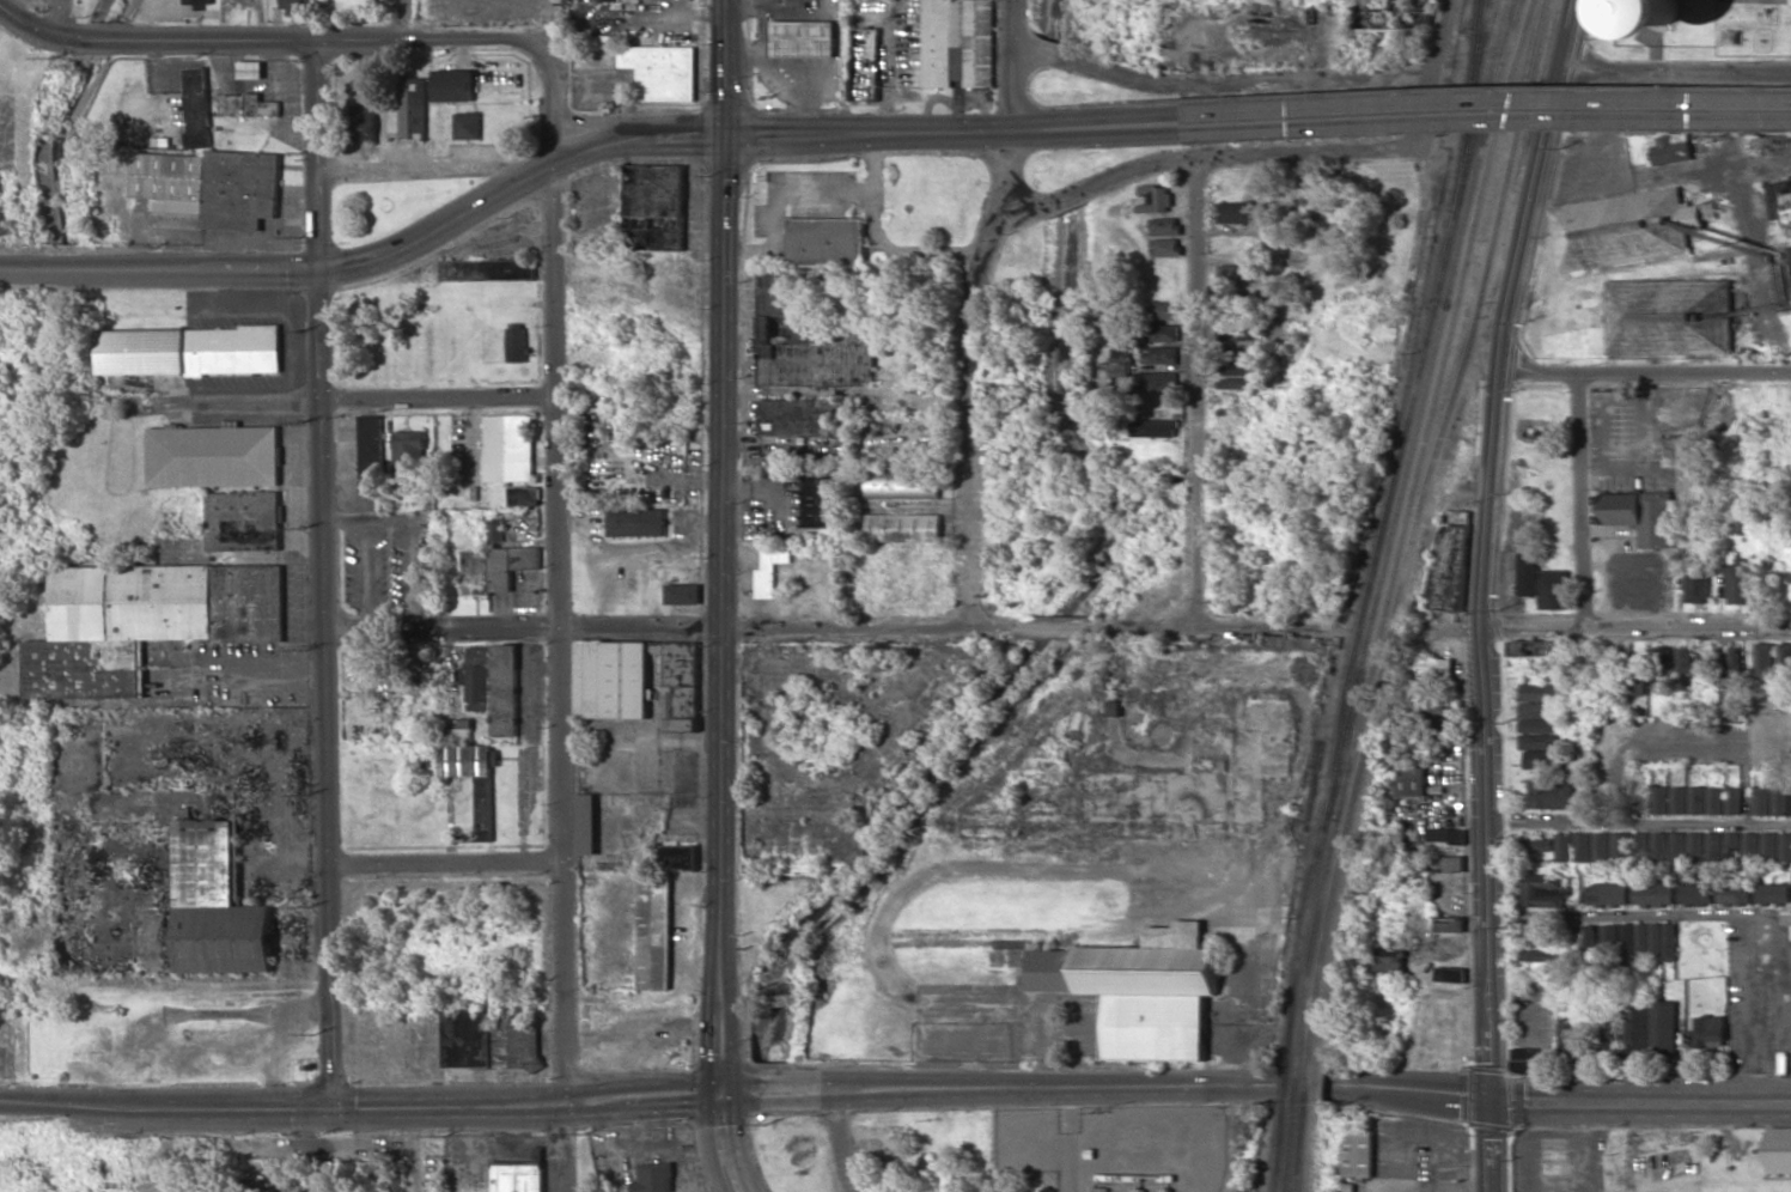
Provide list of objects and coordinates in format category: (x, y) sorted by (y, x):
building: (199, 1)
building: (288, 4)
railway: (1478, 13)
building: (1659, 17)
road: (51, 18)
road: (398, 18)
road: (482, 37)
road: (151, 38)
building: (803, 38)
building: (958, 43)
railway: (1476, 55)
building: (864, 65)
building: (662, 71)
railway: (1495, 71)
road: (1677, 71)
road: (1218, 83)
building: (453, 85)
building: (249, 105)
railway: (1468, 105)
building: (197, 107)
building: (413, 109)
road: (1486, 111)
building: (363, 122)
road: (597, 123)
building: (468, 126)
traffic signals: (727, 135)
building: (1669, 148)
road: (577, 151)
road: (1312, 151)
road: (419, 169)
road: (1095, 182)
building: (212, 186)
building: (1156, 199)
building: (1778, 199)
building: (654, 207)
road: (1423, 208)
building: (1236, 213)
building: (1165, 226)
building: (1625, 229)
building: (827, 241)
building: (1166, 248)
building: (488, 269)
building: (1233, 273)
building: (1166, 310)
road: (969, 311)
building: (1669, 317)
building: (1236, 330)
building: (1157, 333)
building: (808, 337)
building: (517, 345)
building: (190, 351)
building: (1161, 354)
building: (1238, 364)
building: (1114, 366)
road: (1645, 376)
building: (1159, 379)
building: (1237, 383)
road: (1195, 391)
road: (364, 400)
railway: (1411, 414)
building: (796, 418)
building: (1155, 428)
building: (371, 446)
building: (508, 448)
building: (410, 455)
building: (224, 475)
building: (903, 485)
building: (372, 494)
building: (525, 495)
road: (1579, 500)
building: (822, 501)
road: (555, 511)
building: (1641, 516)
building: (636, 522)
railway: (1407, 522)
railway: (1418, 522)
railway: (1396, 523)
building: (904, 527)
building: (497, 529)
building: (1557, 537)
road: (724, 543)
road: (1486, 545)
building: (1451, 564)
building: (772, 566)
building: (497, 568)
road: (327, 572)
building: (1527, 574)
building: (1696, 579)
building: (1738, 583)
building: (1553, 589)
building: (683, 594)
building: (145, 621)
road: (1635, 622)
road: (666, 628)
road: (1048, 628)
road: (1213, 630)
building: (1533, 649)
building: (1785, 658)
building: (1763, 659)
building: (678, 662)
building: (1683, 664)
building: (1662, 667)
building: (1705, 667)
building: (1431, 669)
building: (1637, 675)
building: (1735, 675)
building: (477, 679)
building: (611, 679)
building: (505, 691)
building: (1539, 692)
building: (1437, 703)
building: (1116, 707)
building: (1725, 710)
building: (1537, 717)
building: (1434, 728)
road: (1748, 729)
building: (463, 731)
building: (1537, 741)
railway: (1351, 749)
building: (1541, 759)
building: (1413, 776)
building: (1551, 795)
building: (1658, 799)
building: (1677, 799)
building: (1695, 799)
building: (1713, 799)
building: (1732, 799)
building: (1760, 801)
building: (1779, 801)
building: (1790, 803)
building: (485, 808)
road: (1639, 820)
building: (587, 823)
building: (1446, 834)
building: (1536, 844)
building: (1610, 846)
building: (1639, 846)
building: (1657, 846)
building: (1676, 846)
building: (1694, 846)
building: (1713, 846)
building: (1731, 846)
building: (1749, 846)
building: (1768, 846)
building: (1572, 847)
building: (1784, 847)
road: (441, 864)
building: (1543, 892)
building: (1732, 893)
building: (1772, 893)
building: (1606, 894)
building: (1651, 894)
building: (1693, 895)
building: (217, 905)
building: (659, 916)
road: (1639, 918)
building: (1450, 924)
building: (1608, 937)
building: (1588, 939)
building: (1633, 942)
building: (1662, 942)
building: (1388, 960)
building: (1450, 974)
road: (556, 981)
building: (1143, 990)
building: (1635, 1027)
railway: (1296, 1029)
building: (1663, 1029)
building: (1710, 1032)
building: (1571, 1039)
building: (489, 1041)
building: (1609, 1045)
building: (1529, 1062)
railway: (1289, 1077)
railway: (1294, 1077)
railway: (1300, 1077)
railway: (1310, 1077)
road: (980, 1085)
traffic signals: (720, 1089)
road: (1365, 1090)
road: (640, 1095)
traffic signals: (1491, 1099)
road: (1640, 1099)
road: (444, 1103)
road: (163, 1107)
railway: (1293, 1131)
road: (1238, 1137)
road: (842, 1139)
road: (721, 1142)
power substation: (1119, 1145)
road: (1491, 1145)
road: (560, 1147)
railway: (1283, 1147)
railway: (1293, 1148)
railway: (1303, 1148)
building: (1779, 1150)
building: (1359, 1155)
building: (364, 1170)
building: (398, 1176)
building: (518, 1178)
building: (654, 1178)
building: (1047, 1190)

